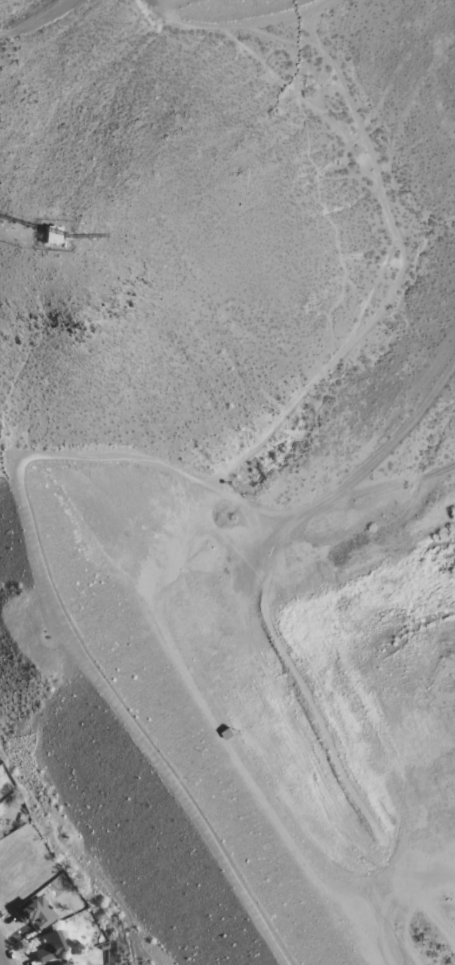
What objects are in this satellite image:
building: (49, 234)
park: (232, 470)
dam: (117, 723)
building: (35, 912)
building: (47, 945)
road: (3, 957)
building: (62, 964)

